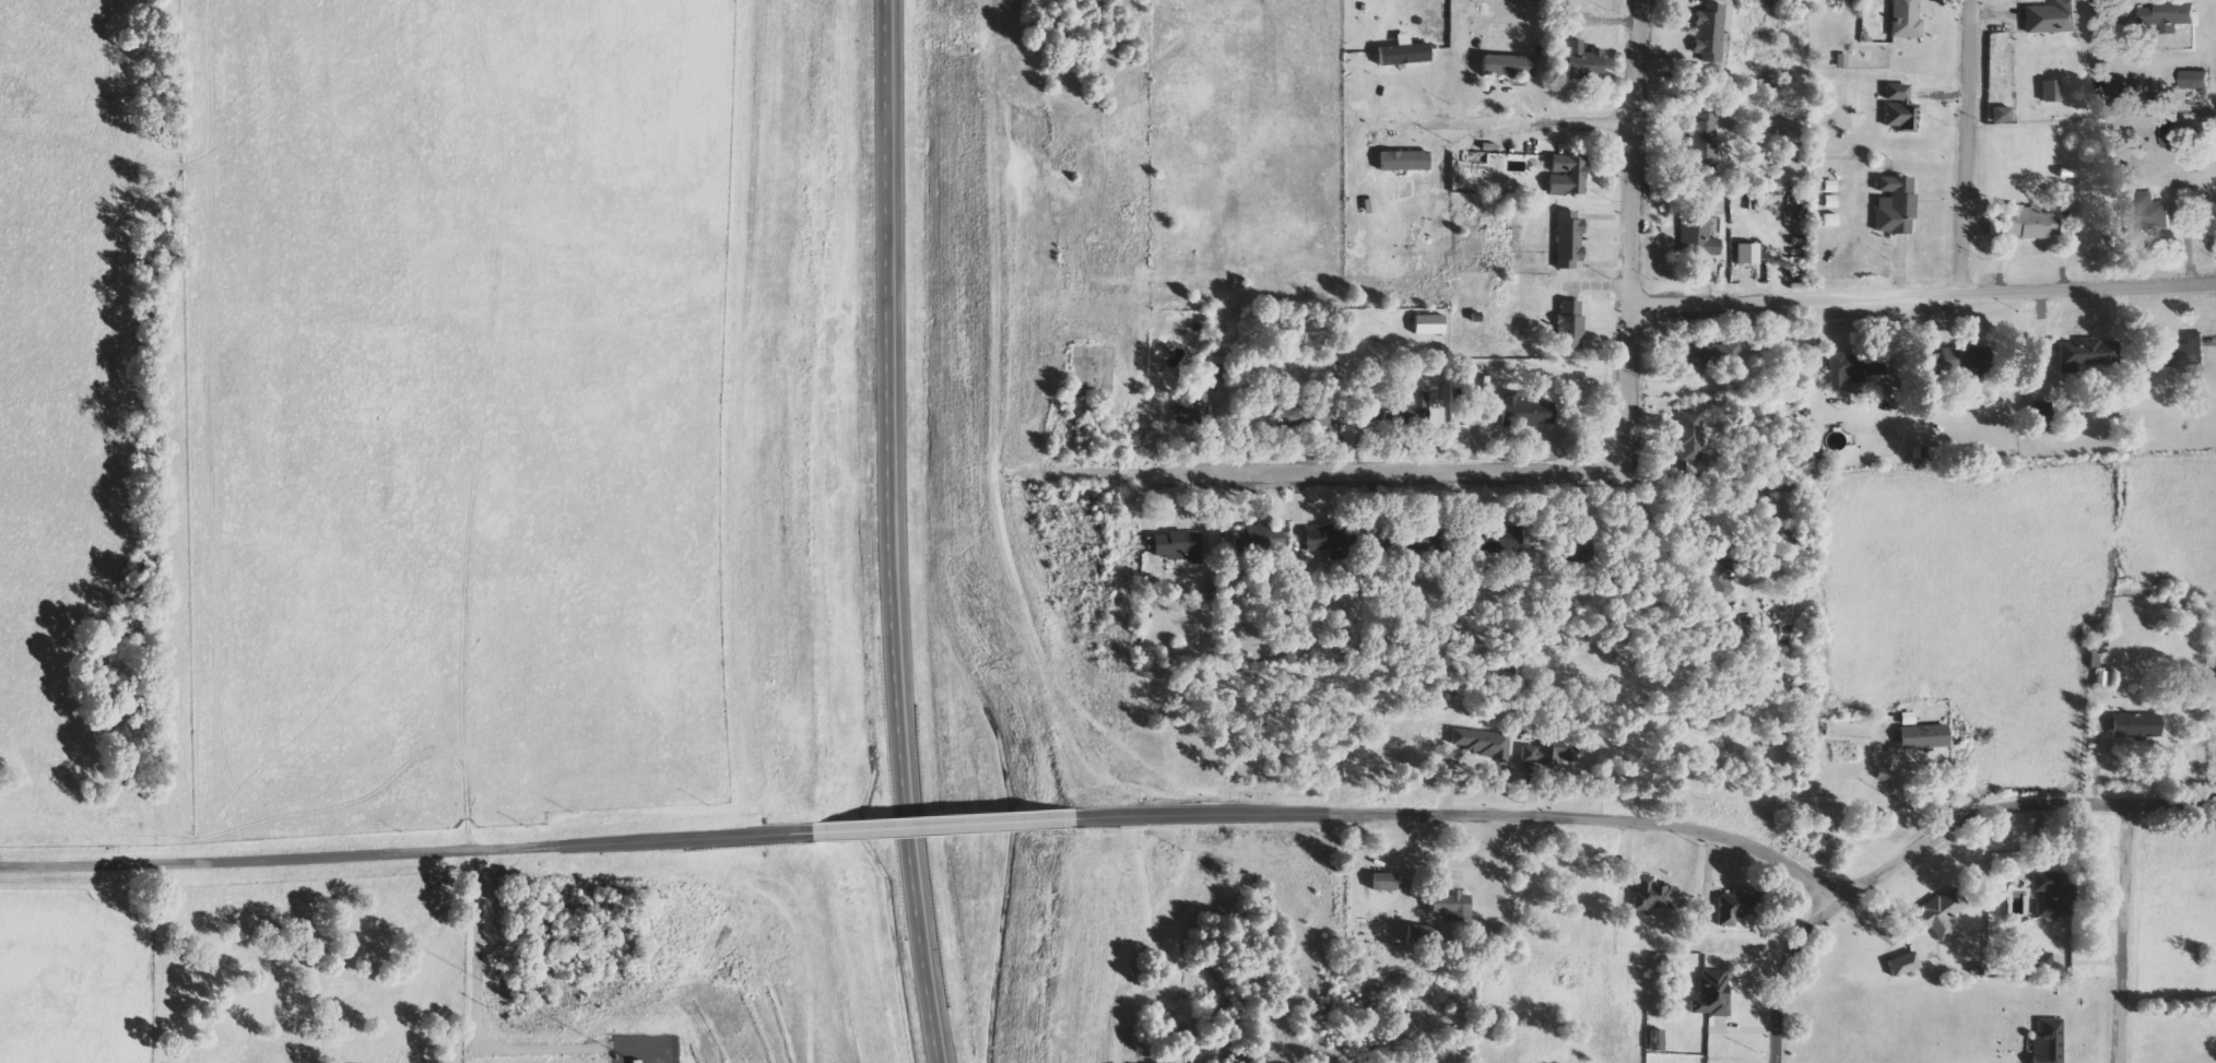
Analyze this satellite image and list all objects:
building: (2174, 15)
building: (2147, 16)
building: (2050, 17)
building: (1903, 20)
building: (1707, 34)
building: (1402, 52)
building: (1840, 60)
building: (1581, 61)
building: (1506, 66)
building: (2194, 79)
building: (2049, 92)
building: (1898, 108)
building: (2001, 115)
road: (1509, 122)
building: (2166, 138)
building: (1701, 142)
road: (1972, 146)
building: (1402, 161)
building: (1566, 175)
building: (1894, 205)
building: (2148, 213)
building: (2028, 223)
building: (1700, 235)
road: (1634, 236)
building: (1567, 239)
building: (1745, 253)
road: (1924, 296)
building: (1427, 324)
building: (1568, 326)
road: (894, 333)
building: (1712, 353)
building: (2184, 353)
building: (2087, 354)
building: (1949, 363)
building: (1852, 367)
building: (1215, 369)
building: (1415, 405)
building: (1190, 408)
building: (1524, 411)
building: (1299, 416)
building: (2039, 416)
building: (1689, 440)
road: (1317, 473)
building: (1320, 538)
building: (1259, 539)
building: (1505, 539)
building: (1175, 545)
building: (1716, 577)
building: (1906, 719)
building: (2134, 725)
building: (1920, 737)
building: (1480, 743)
building: (1546, 748)
road: (1473, 814)
road: (946, 828)
road: (1936, 841)
road: (408, 853)
road: (915, 865)
building: (1381, 882)
building: (2049, 893)
building: (1649, 894)
building: (1450, 906)
building: (1732, 908)
building: (1935, 914)
road: (2124, 931)
building: (2038, 962)
building: (1901, 964)
building: (1710, 994)
building: (1653, 1040)
building: (2046, 1042)

